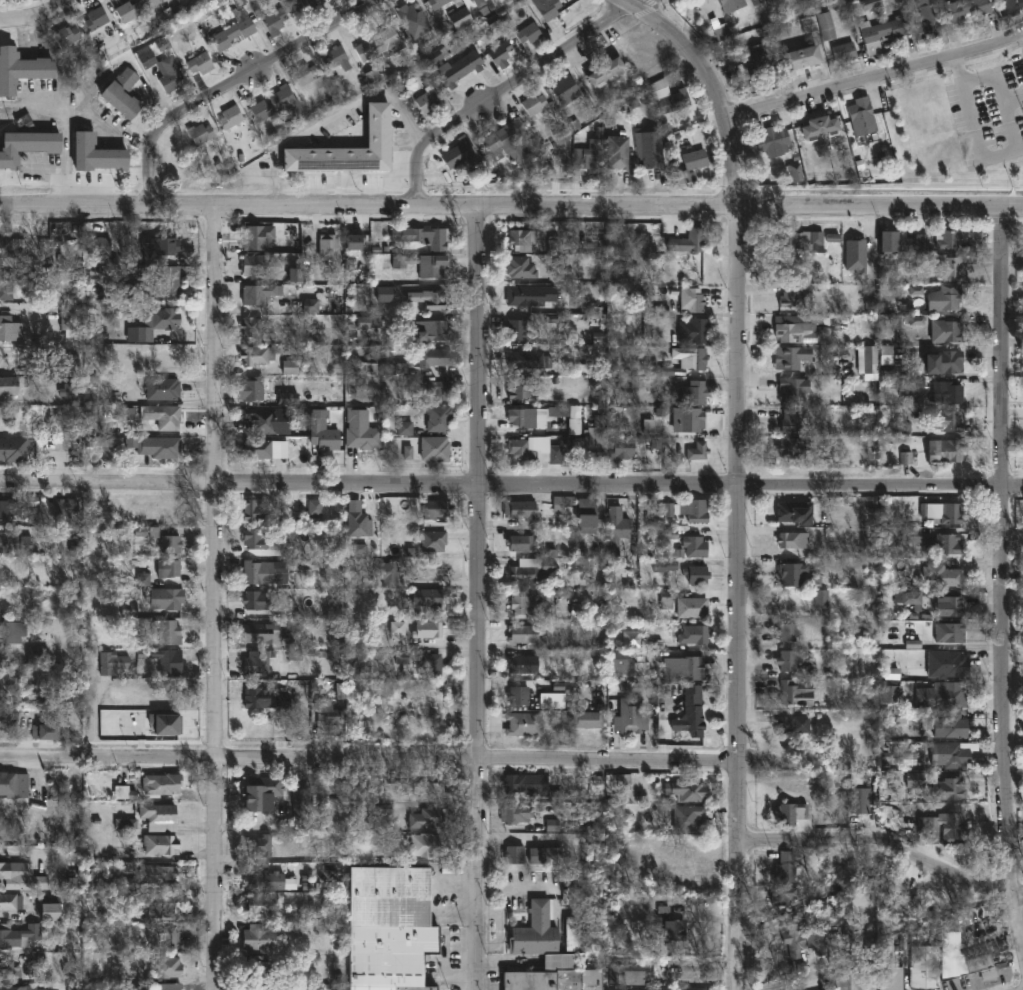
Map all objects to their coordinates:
building: (471, 0)
building: (762, 0)
building: (480, 2)
building: (754, 2)
building: (438, 3)
building: (459, 3)
building: (304, 5)
building: (733, 5)
building: (1012, 7)
building: (134, 9)
building: (548, 9)
building: (965, 9)
road: (41, 15)
building: (460, 17)
building: (96, 18)
building: (414, 19)
building: (274, 20)
building: (928, 20)
building: (826, 26)
building: (528, 33)
building: (880, 33)
building: (232, 34)
building: (67, 35)
road: (1022, 36)
building: (379, 44)
building: (846, 51)
building: (499, 52)
building: (336, 58)
building: (799, 58)
building: (200, 62)
building: (757, 65)
building: (458, 68)
building: (21, 69)
building: (607, 71)
building: (168, 73)
building: (306, 74)
road: (988, 75)
road: (876, 77)
road: (230, 83)
road: (713, 83)
road: (507, 87)
building: (565, 88)
building: (122, 94)
building: (671, 98)
building: (427, 100)
building: (277, 104)
building: (535, 105)
building: (863, 116)
building: (232, 117)
road: (334, 117)
building: (822, 127)
building: (201, 133)
building: (508, 139)
building: (774, 141)
building: (28, 146)
building: (350, 149)
building: (653, 149)
building: (617, 152)
building: (462, 153)
building: (97, 154)
building: (593, 156)
road: (985, 157)
building: (691, 165)
road: (243, 207)
road: (754, 207)
building: (255, 238)
building: (428, 238)
building: (524, 240)
building: (799, 240)
building: (948, 240)
building: (887, 242)
building: (688, 243)
building: (327, 247)
building: (355, 247)
building: (10, 248)
building: (158, 248)
building: (256, 265)
building: (421, 265)
building: (949, 267)
building: (520, 269)
building: (629, 275)
building: (161, 285)
building: (5, 289)
building: (258, 294)
building: (385, 295)
building: (517, 295)
building: (949, 297)
building: (428, 299)
building: (692, 300)
building: (792, 300)
building: (69, 320)
building: (161, 320)
building: (653, 327)
building: (10, 330)
building: (790, 330)
building: (256, 331)
building: (430, 331)
building: (518, 331)
building: (694, 331)
building: (946, 331)
building: (257, 355)
building: (885, 356)
building: (432, 357)
building: (528, 357)
building: (696, 359)
building: (792, 359)
building: (950, 362)
building: (13, 387)
building: (161, 389)
building: (517, 389)
building: (252, 390)
building: (437, 390)
building: (793, 390)
building: (695, 394)
building: (947, 394)
building: (162, 416)
building: (532, 417)
building: (439, 420)
building: (689, 420)
building: (792, 420)
building: (127, 421)
building: (259, 421)
building: (946, 421)
building: (404, 429)
building: (359, 431)
building: (321, 435)
building: (154, 447)
building: (595, 447)
building: (791, 448)
building: (621, 449)
building: (16, 450)
building: (255, 450)
building: (434, 450)
building: (534, 451)
building: (945, 451)
building: (697, 452)
building: (822, 457)
road: (511, 486)
building: (562, 506)
building: (314, 508)
building: (66, 509)
building: (255, 510)
building: (437, 510)
building: (795, 511)
building: (8, 512)
building: (519, 512)
building: (697, 512)
building: (942, 513)
building: (167, 514)
building: (586, 516)
building: (356, 525)
building: (616, 531)
building: (255, 539)
building: (792, 540)
building: (433, 541)
building: (8, 543)
building: (520, 543)
building: (943, 543)
building: (169, 544)
building: (695, 547)
building: (167, 567)
building: (682, 570)
building: (264, 572)
building: (790, 572)
building: (524, 573)
building: (387, 574)
building: (942, 576)
road: (1004, 582)
building: (429, 596)
building: (907, 597)
building: (164, 598)
road: (216, 598)
road: (743, 598)
building: (255, 599)
road: (485, 600)
building: (522, 602)
building: (948, 605)
building: (692, 607)
building: (430, 629)
building: (9, 630)
building: (168, 631)
building: (266, 631)
building: (948, 632)
building: (522, 633)
building: (695, 633)
building: (787, 633)
building: (630, 640)
building: (36, 655)
building: (788, 659)
building: (167, 660)
building: (256, 661)
building: (430, 662)
building: (521, 663)
building: (948, 663)
building: (113, 664)
building: (627, 665)
building: (684, 667)
building: (9, 682)
building: (395, 688)
building: (895, 692)
building: (518, 693)
building: (795, 693)
building: (940, 694)
building: (427, 695)
building: (40, 697)
building: (264, 697)
building: (690, 712)
building: (326, 716)
building: (630, 716)
building: (585, 718)
building: (7, 719)
building: (791, 722)
building: (523, 723)
building: (944, 724)
building: (45, 729)
building: (951, 755)
road: (371, 757)
building: (620, 782)
building: (915, 782)
building: (160, 783)
building: (13, 784)
building: (525, 784)
building: (948, 788)
building: (393, 790)
building: (686, 790)
building: (260, 791)
building: (860, 800)
building: (298, 809)
building: (790, 812)
building: (515, 813)
building: (158, 816)
building: (686, 817)
building: (422, 818)
building: (945, 827)
building: (159, 844)
building: (424, 844)
building: (258, 845)
road: (888, 845)
building: (517, 849)
building: (785, 867)
building: (4, 869)
building: (155, 873)
building: (692, 878)
building: (267, 881)
building: (784, 895)
building: (10, 901)
building: (260, 903)
building: (160, 905)
building: (48, 908)
building: (388, 927)
building: (671, 929)
building: (18, 934)
building: (792, 935)
building: (257, 936)
building: (571, 936)
building: (162, 937)
building: (816, 939)
building: (957, 956)
building: (545, 957)
building: (924, 959)
building: (167, 967)
building: (9, 968)
building: (257, 968)
building: (891, 970)
building: (625, 974)
building: (841, 982)
building: (167, 985)
building: (8, 988)
building: (269, 989)

